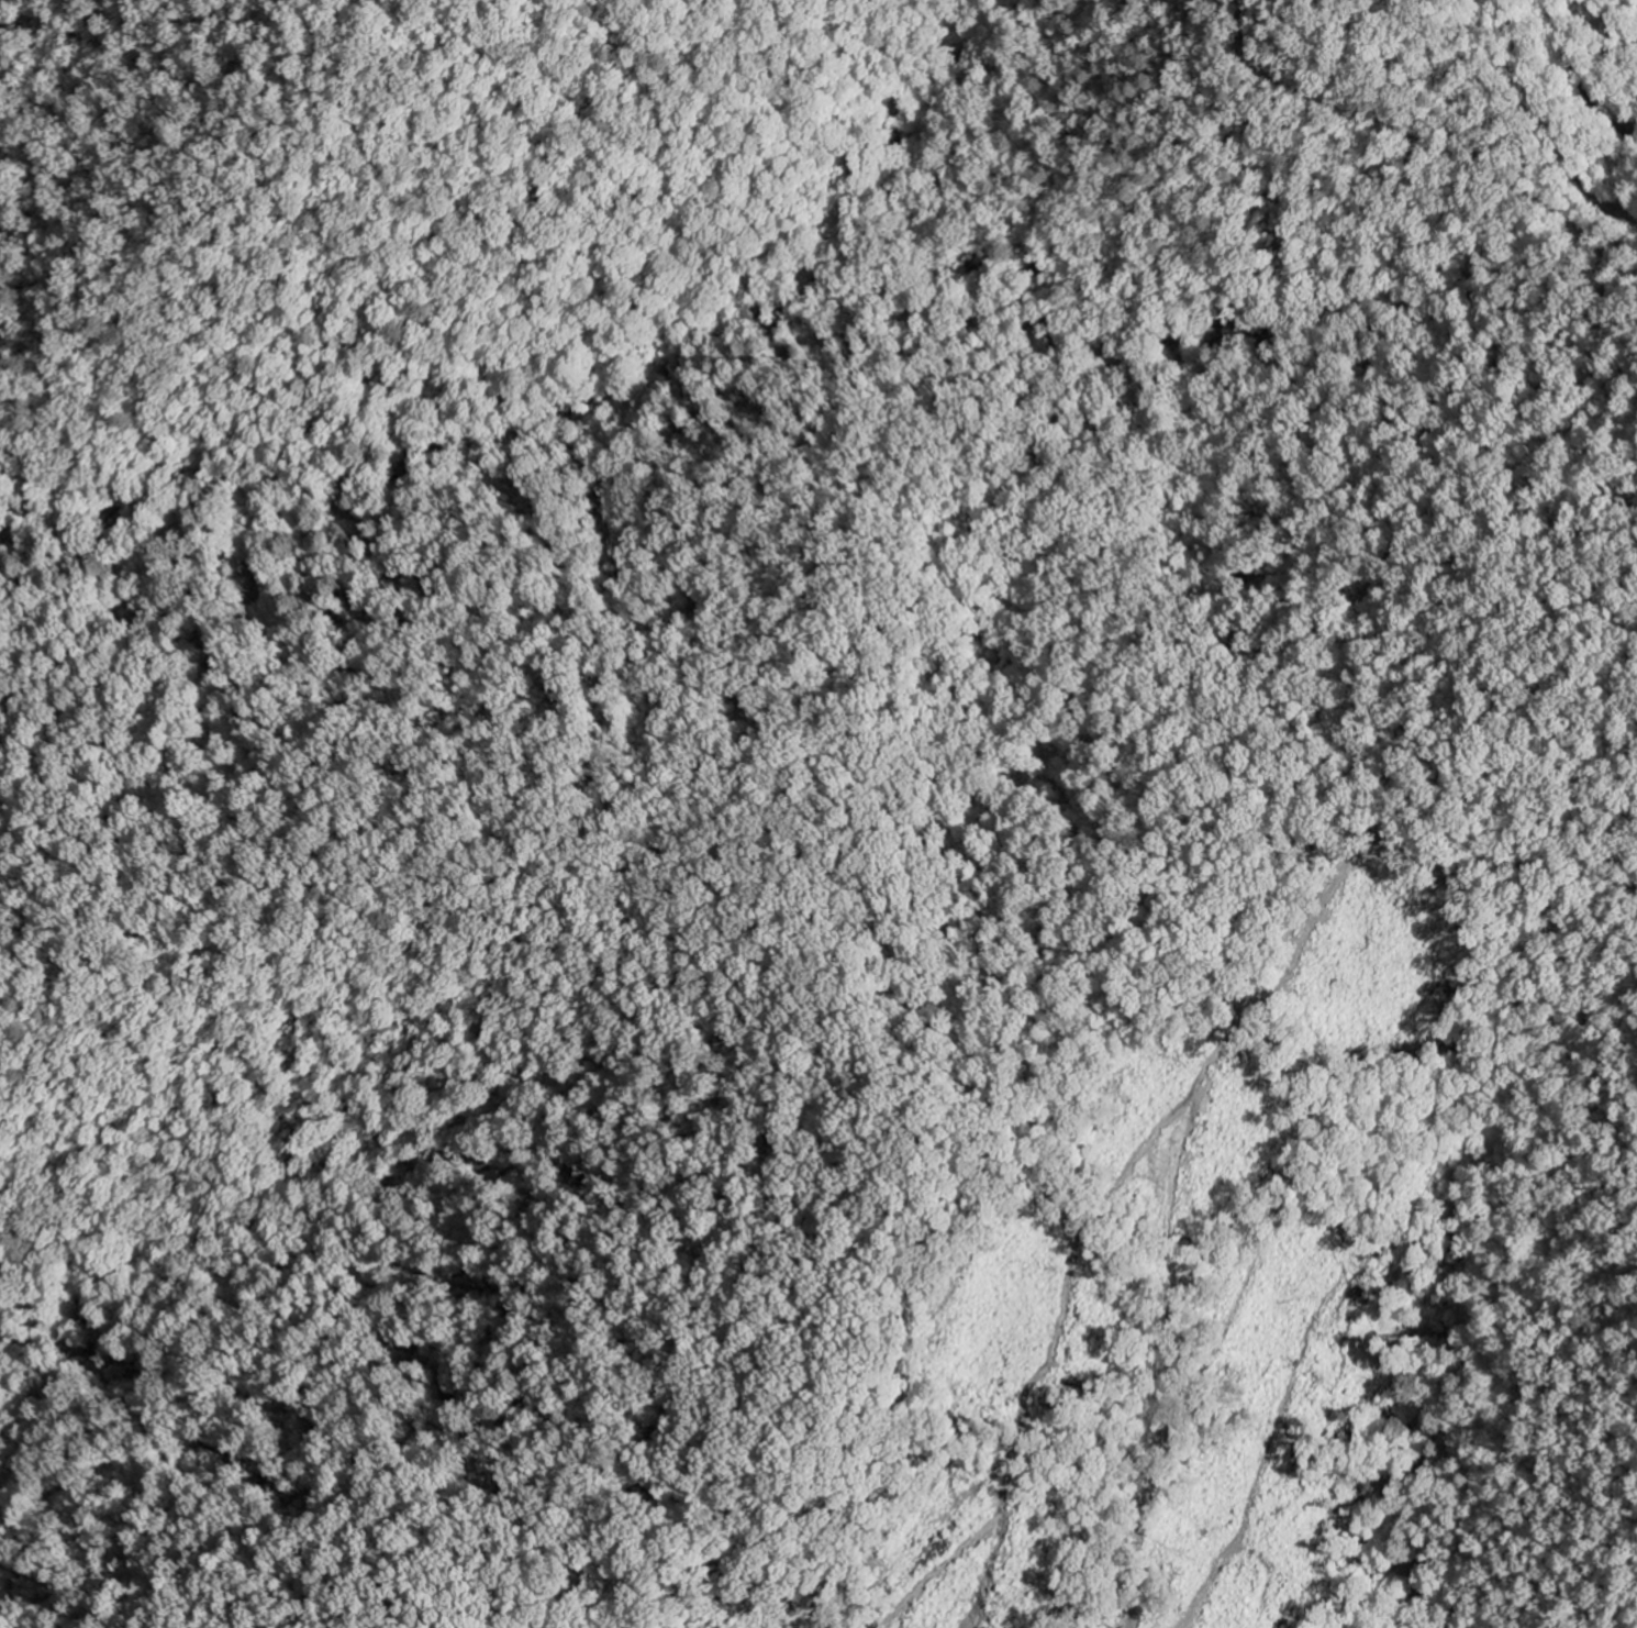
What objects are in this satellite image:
road: (1470, 562)

